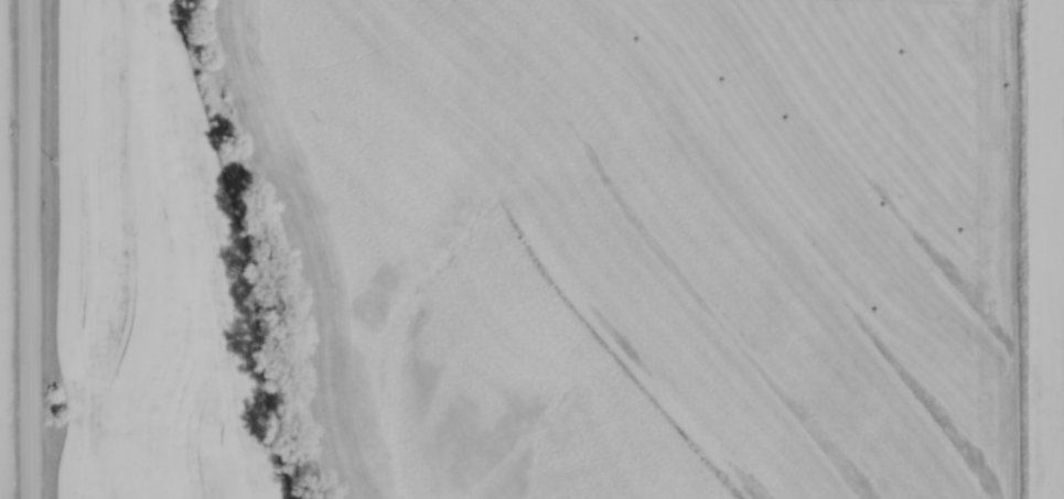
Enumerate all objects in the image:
road: (31, 249)

